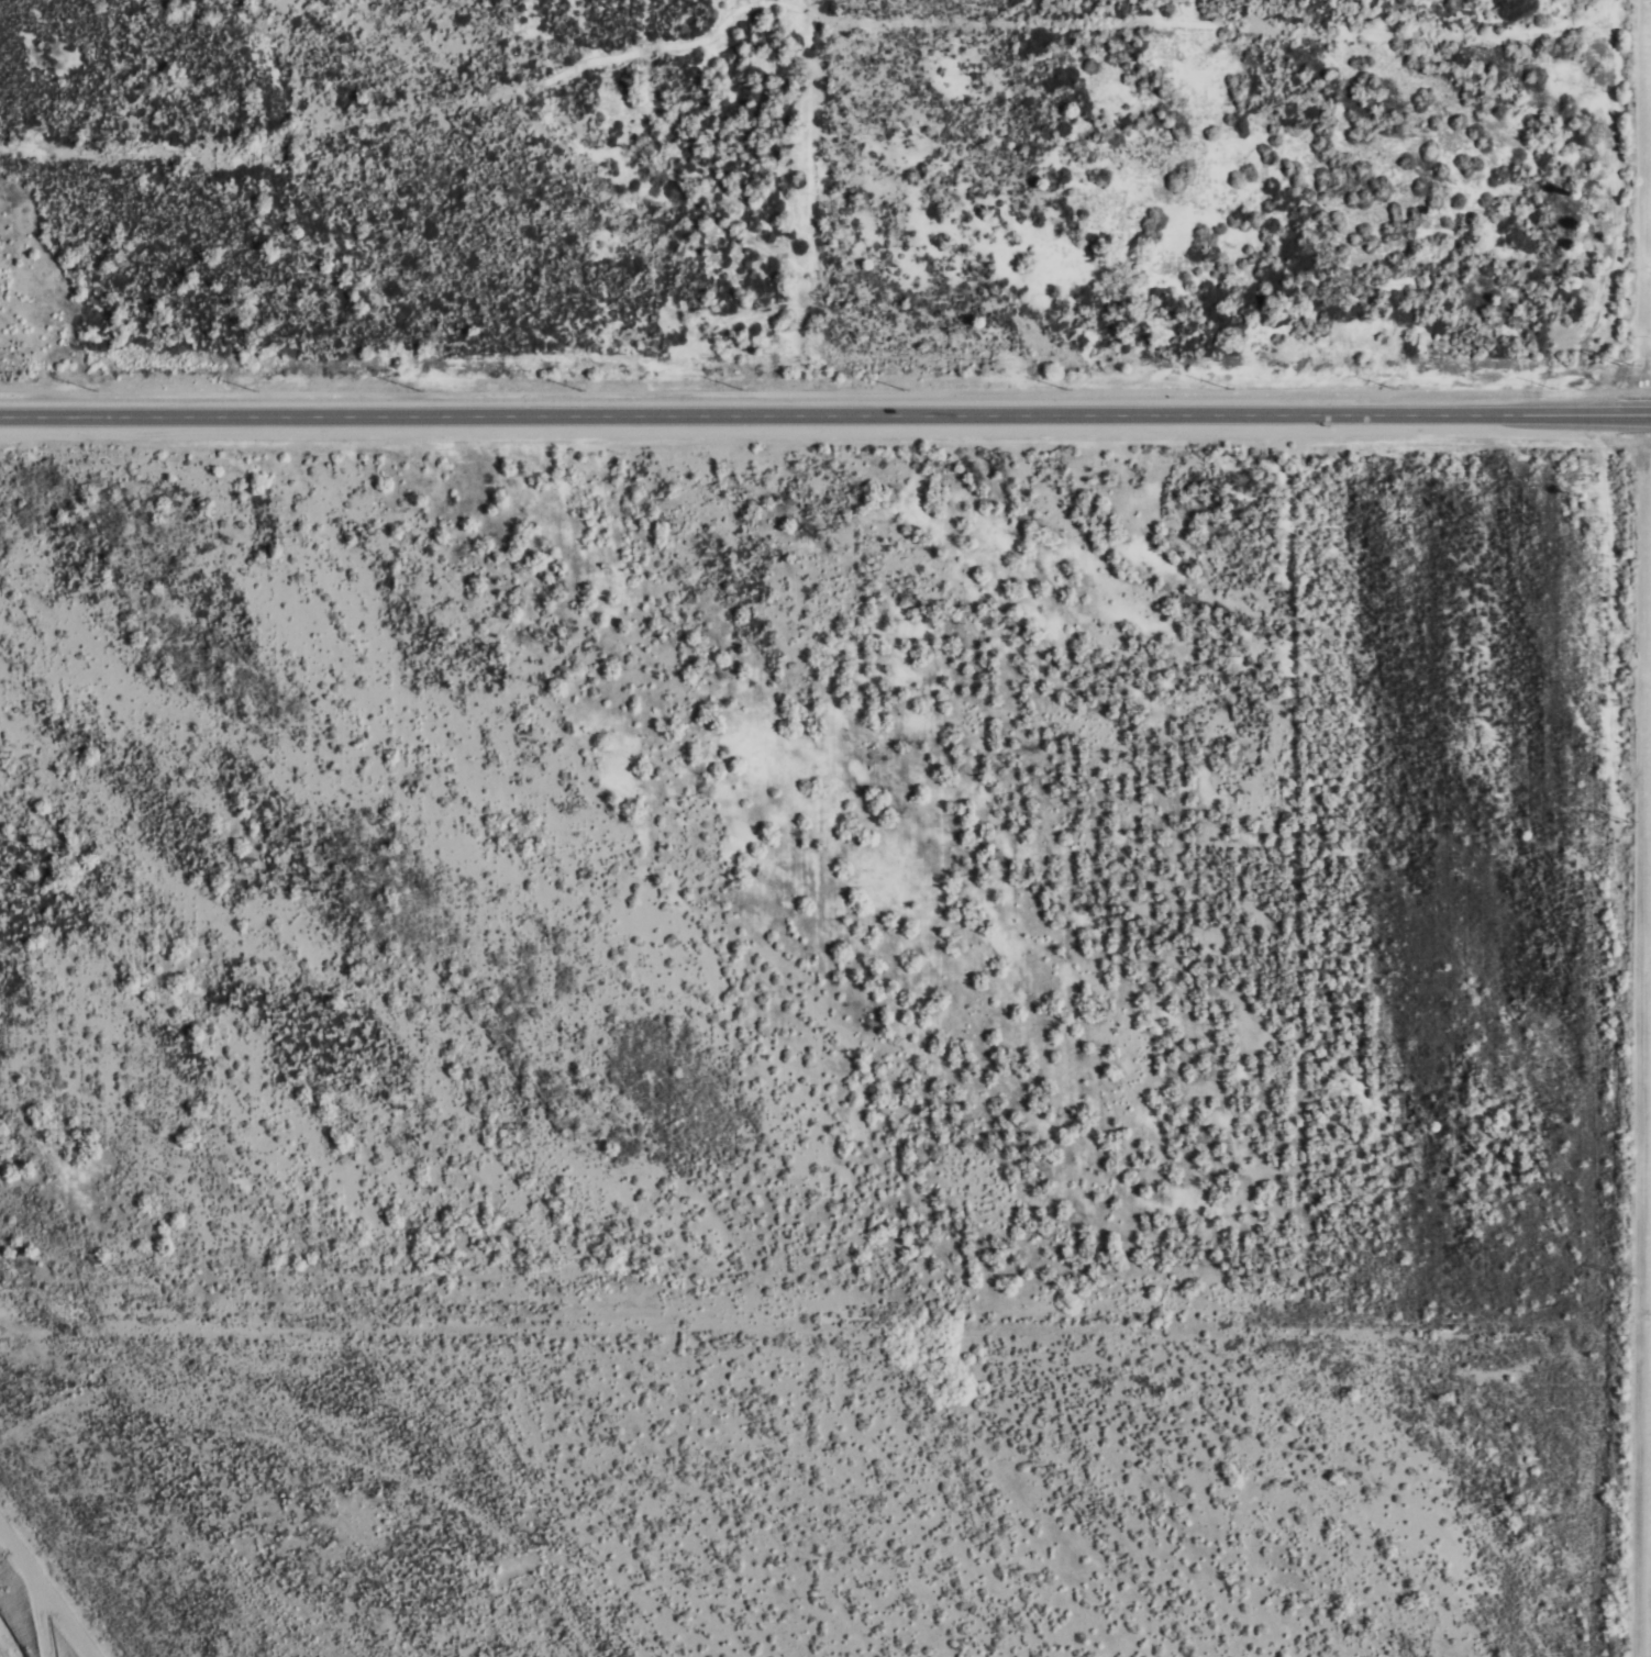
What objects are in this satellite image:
power tower: (1632, 357)
road: (824, 415)
power tower: (1628, 820)
power tower: (1626, 1271)
road: (1, 1655)

